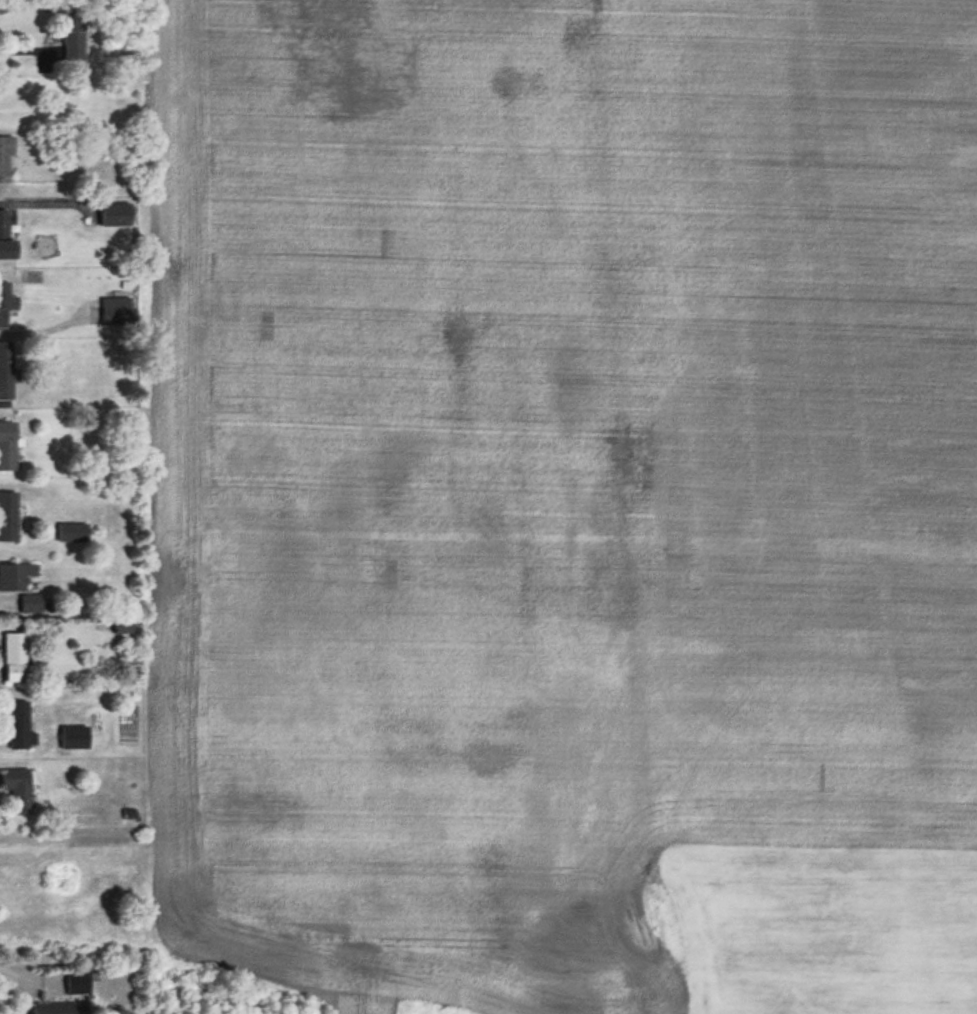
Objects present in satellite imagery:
building: (72, 36)
building: (5, 157)
building: (115, 216)
building: (6, 239)
building: (6, 303)
building: (115, 312)
building: (5, 371)
building: (7, 446)
building: (8, 517)
building: (72, 532)
building: (16, 576)
building: (30, 604)
building: (15, 658)
building: (18, 725)
building: (73, 738)
building: (19, 791)
building: (76, 984)
building: (51, 1008)

